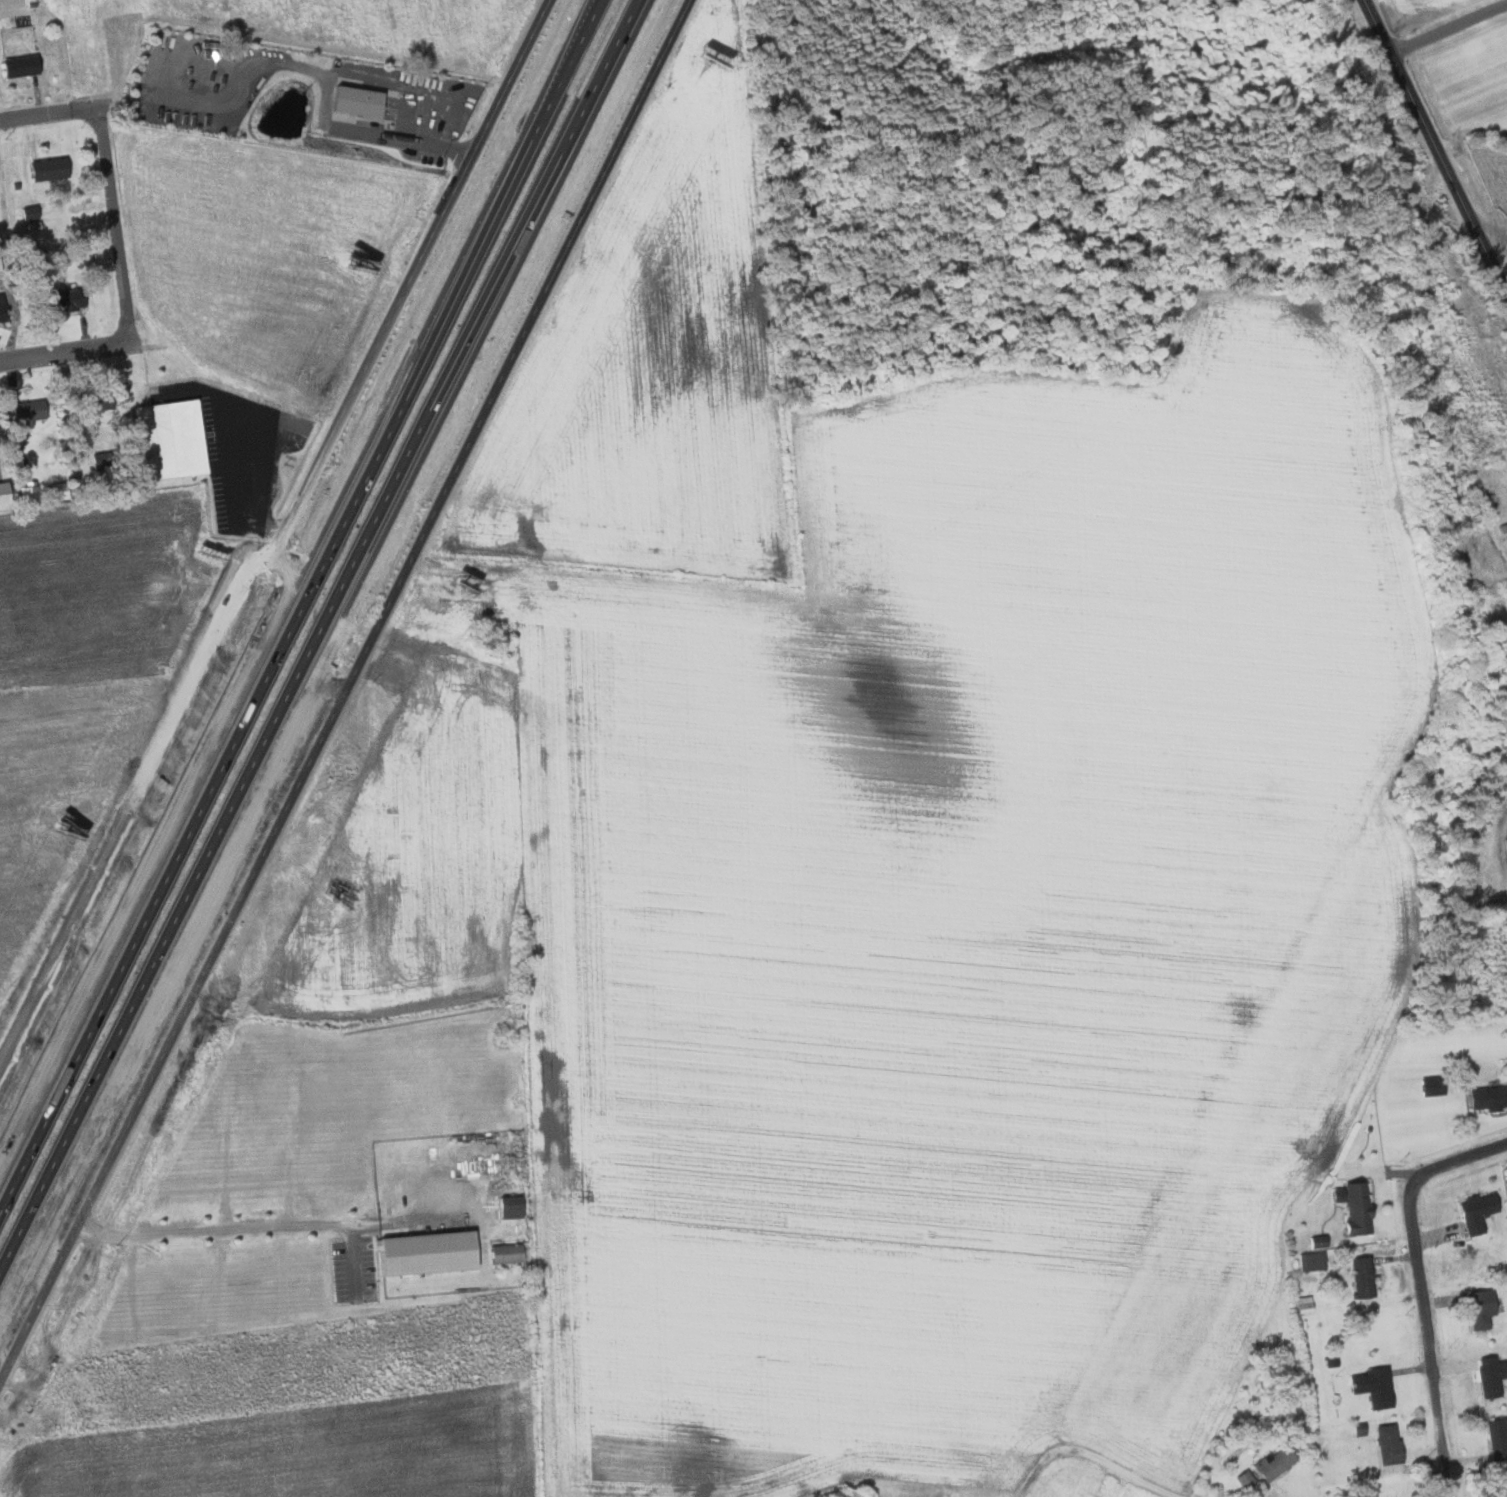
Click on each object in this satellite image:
building: (1219, 0)
road: (1448, 26)
building: (17, 66)
building: (352, 102)
road: (48, 113)
road: (421, 140)
road: (1436, 146)
building: (45, 169)
road: (111, 225)
building: (62, 299)
building: (1, 312)
road: (132, 342)
road: (63, 351)
building: (25, 413)
building: (168, 440)
building: (54, 491)
building: (26, 492)
building: (1, 494)
road: (279, 535)
road: (299, 598)
road: (318, 641)
road: (345, 689)
building: (1505, 852)
building: (1487, 1097)
building: (1334, 1194)
building: (506, 1206)
building: (1353, 1207)
building: (1474, 1211)
road: (218, 1227)
building: (425, 1252)
building: (503, 1253)
building: (1310, 1260)
building: (1359, 1276)
road: (1429, 1293)
building: (1477, 1308)
building: (1487, 1375)
building: (1372, 1386)
building: (1495, 1438)
building: (1385, 1444)
road: (1092, 1453)
building: (1271, 1462)
building: (1242, 1478)

